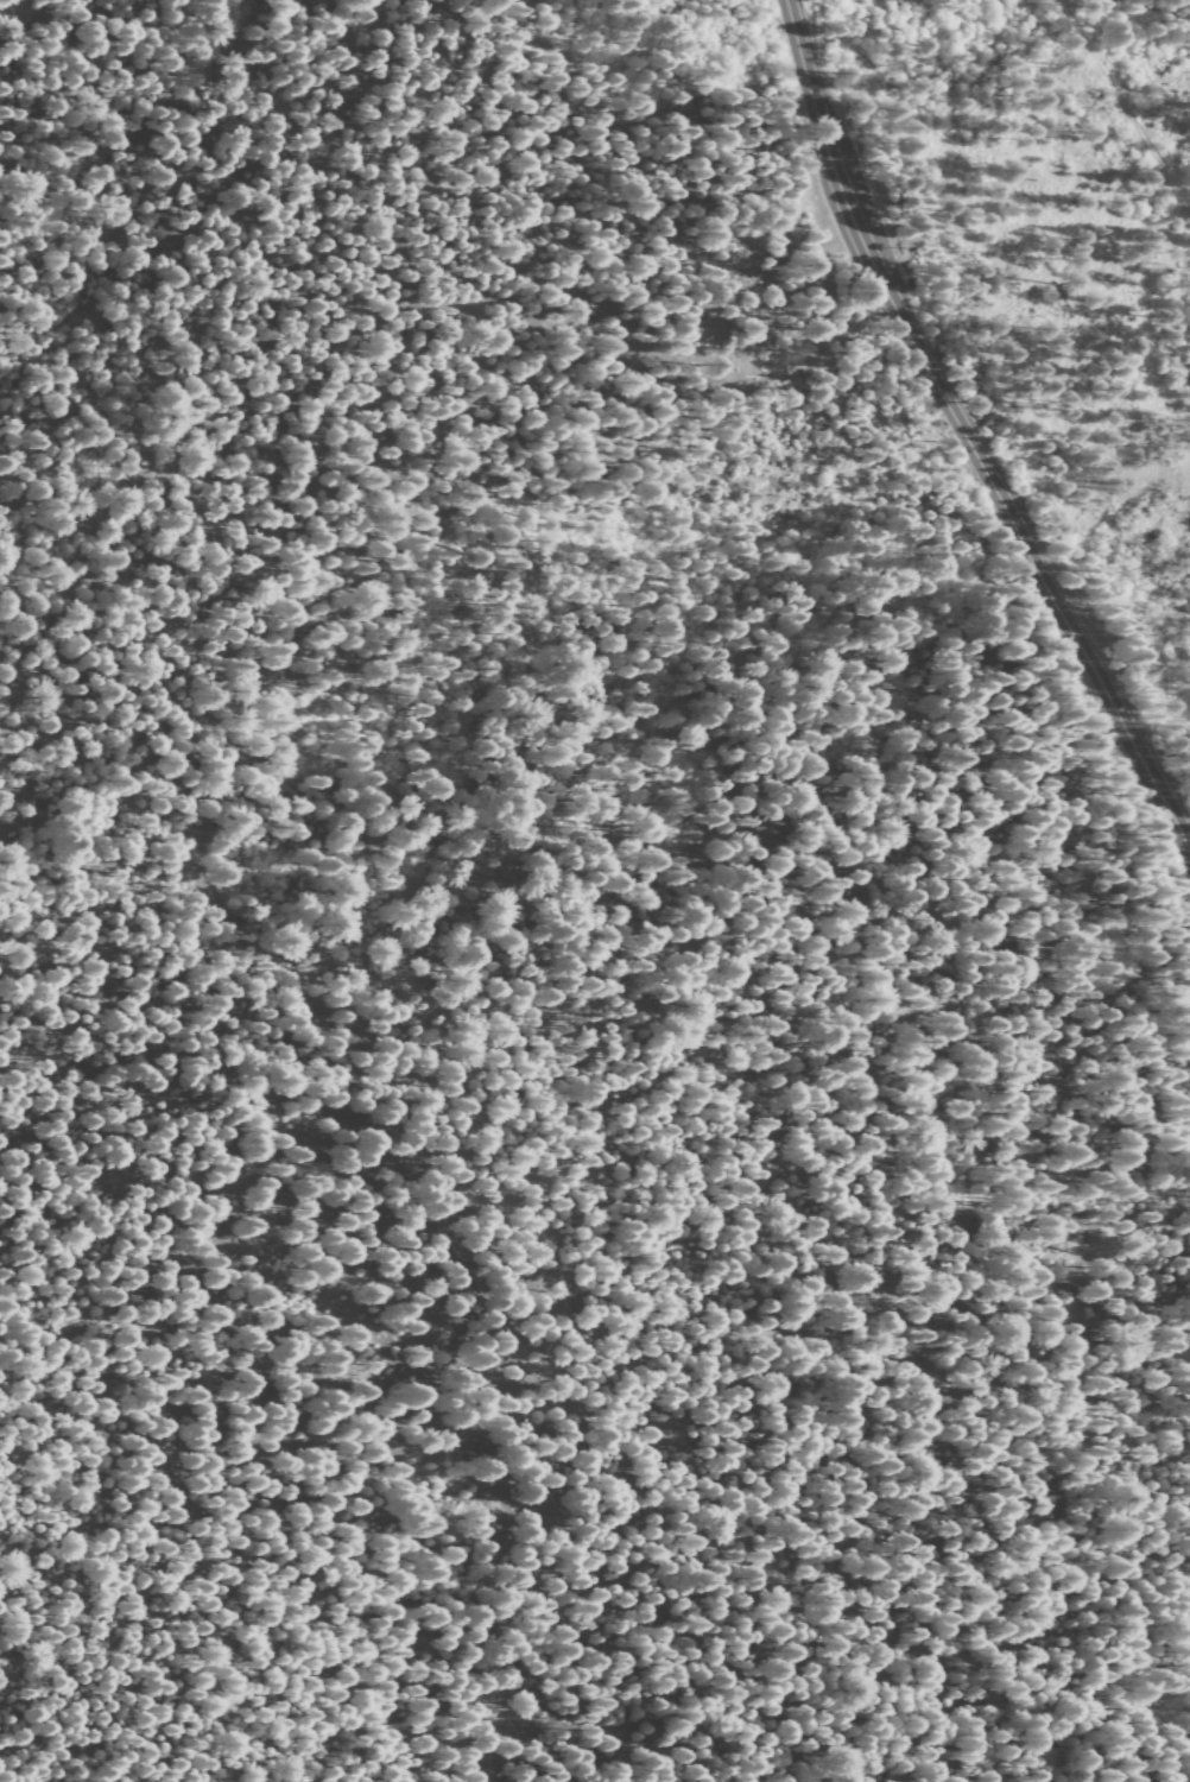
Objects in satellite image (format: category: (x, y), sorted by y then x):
road: (963, 434)

